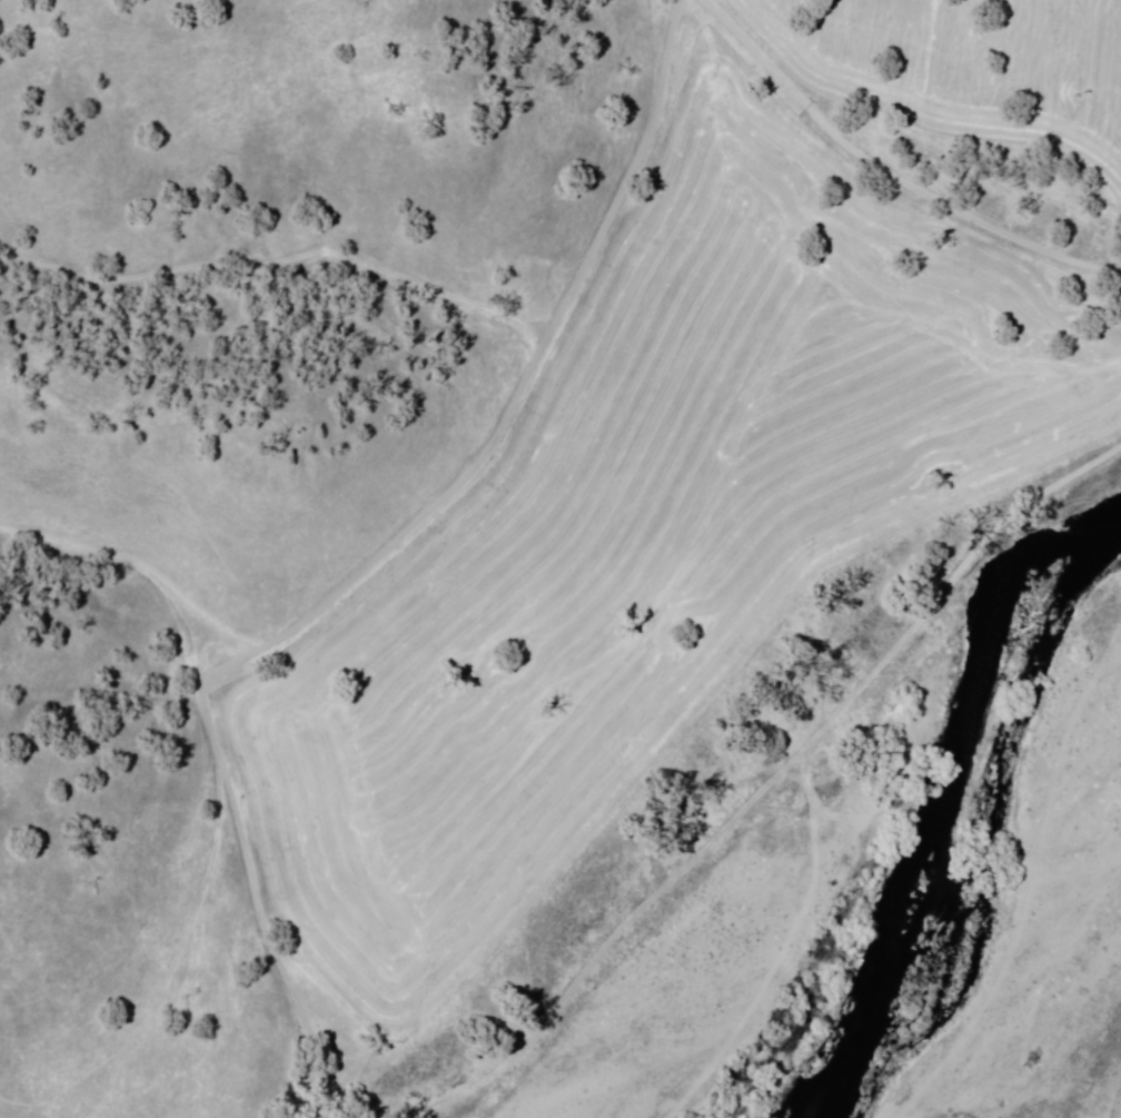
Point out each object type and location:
river: (1054, 626)
river: (956, 778)
river: (833, 988)

